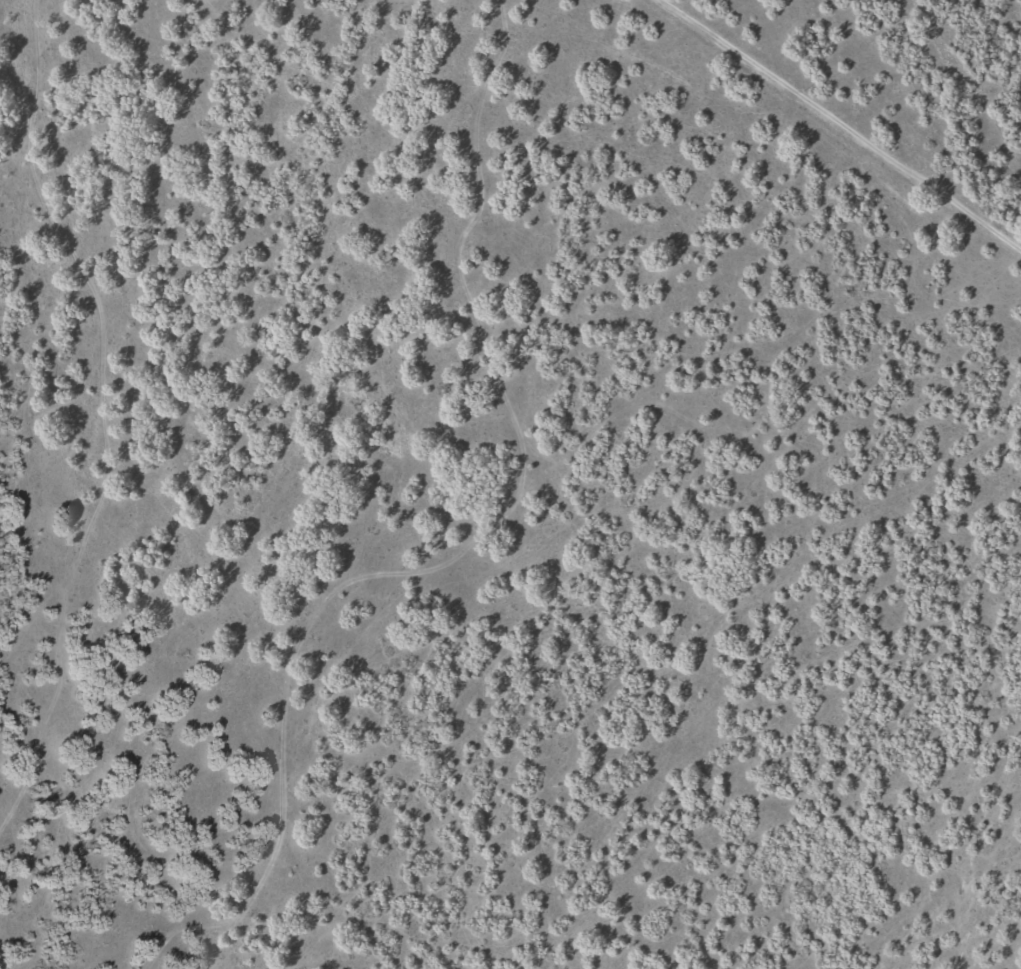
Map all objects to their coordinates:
road: (862, 105)
road: (515, 528)

